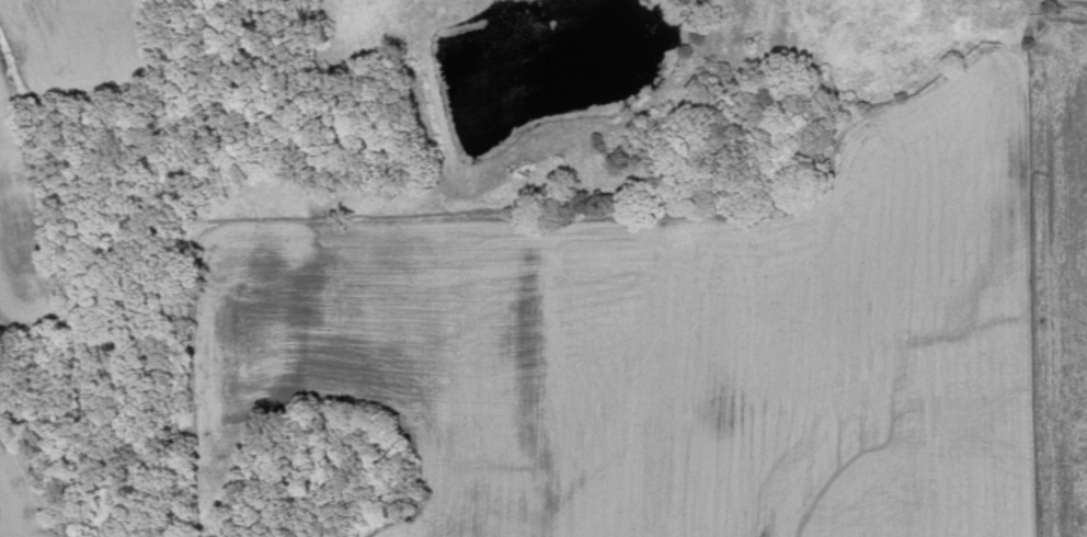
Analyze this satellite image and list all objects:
road: (1064, 1)

